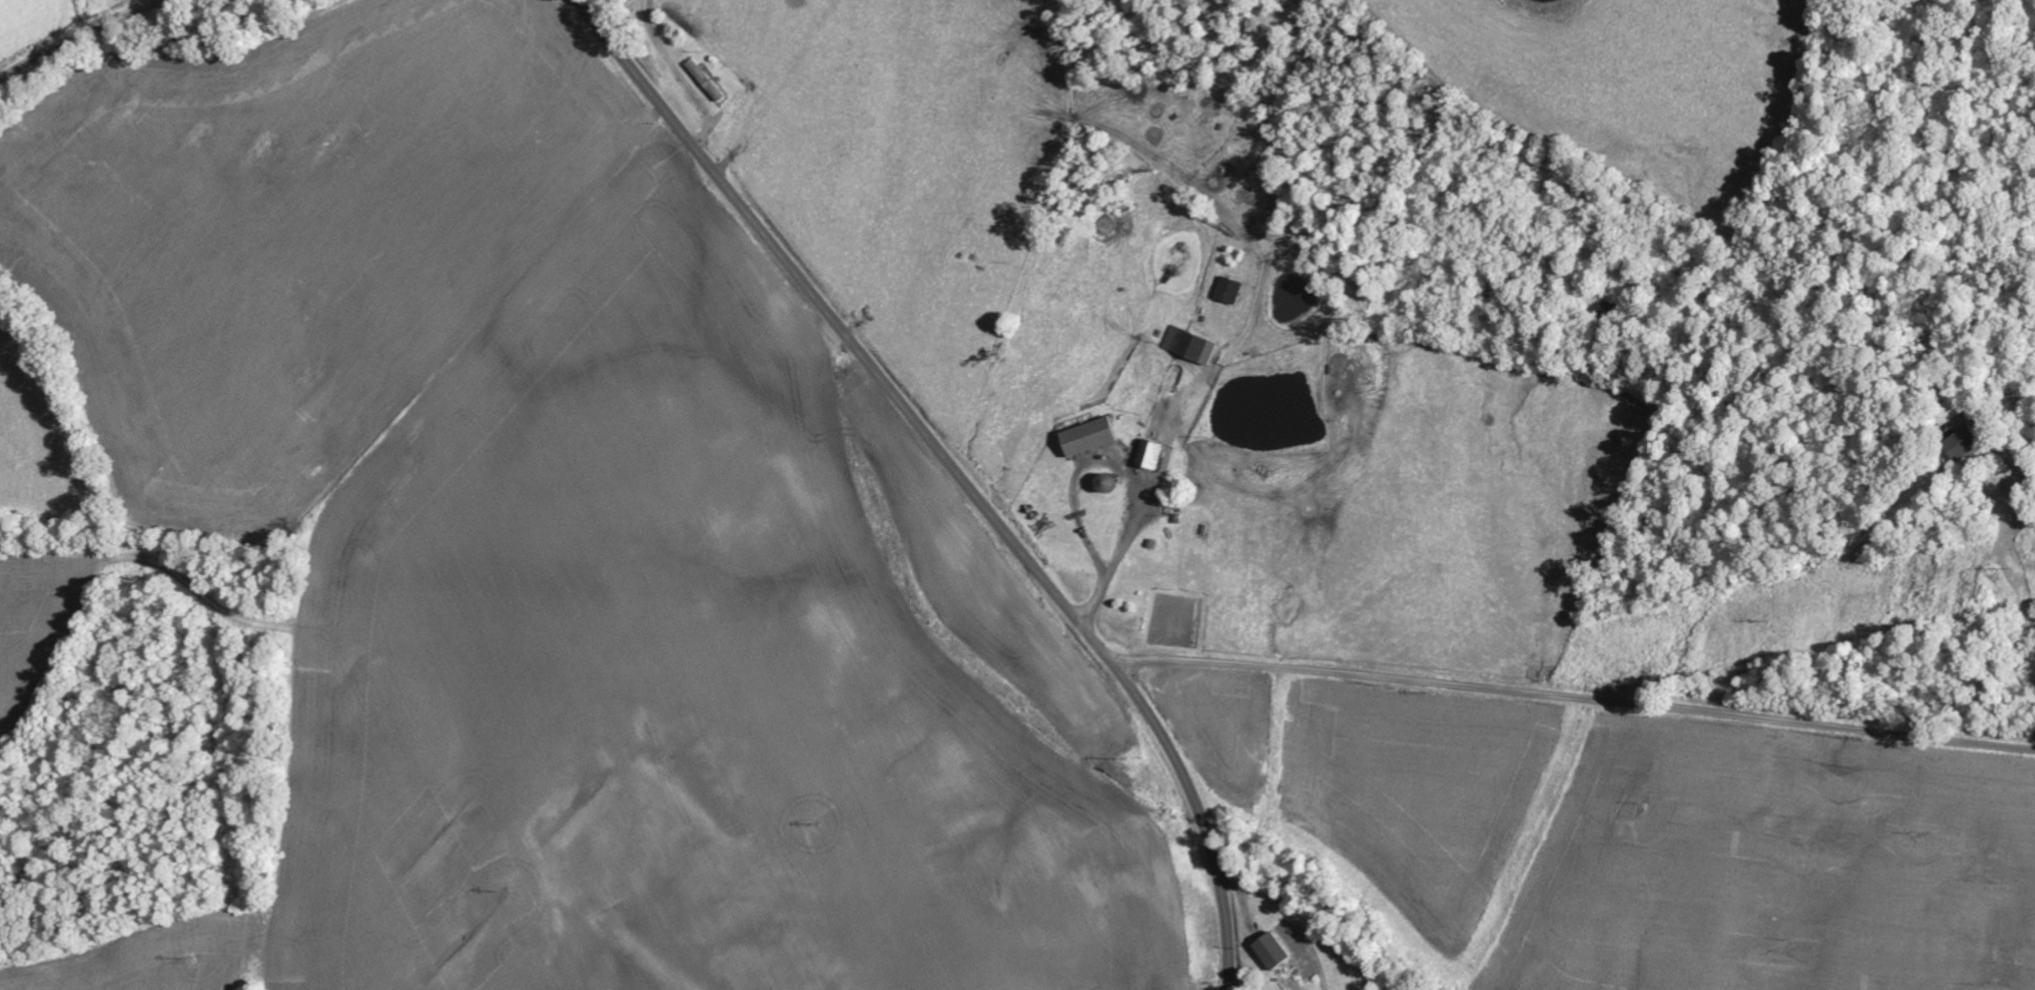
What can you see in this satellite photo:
road: (78, 36)
building: (708, 80)
building: (1233, 291)
building: (1193, 345)
building: (1094, 437)
building: (1154, 455)
road: (956, 470)
road: (1574, 696)
building: (1279, 950)

